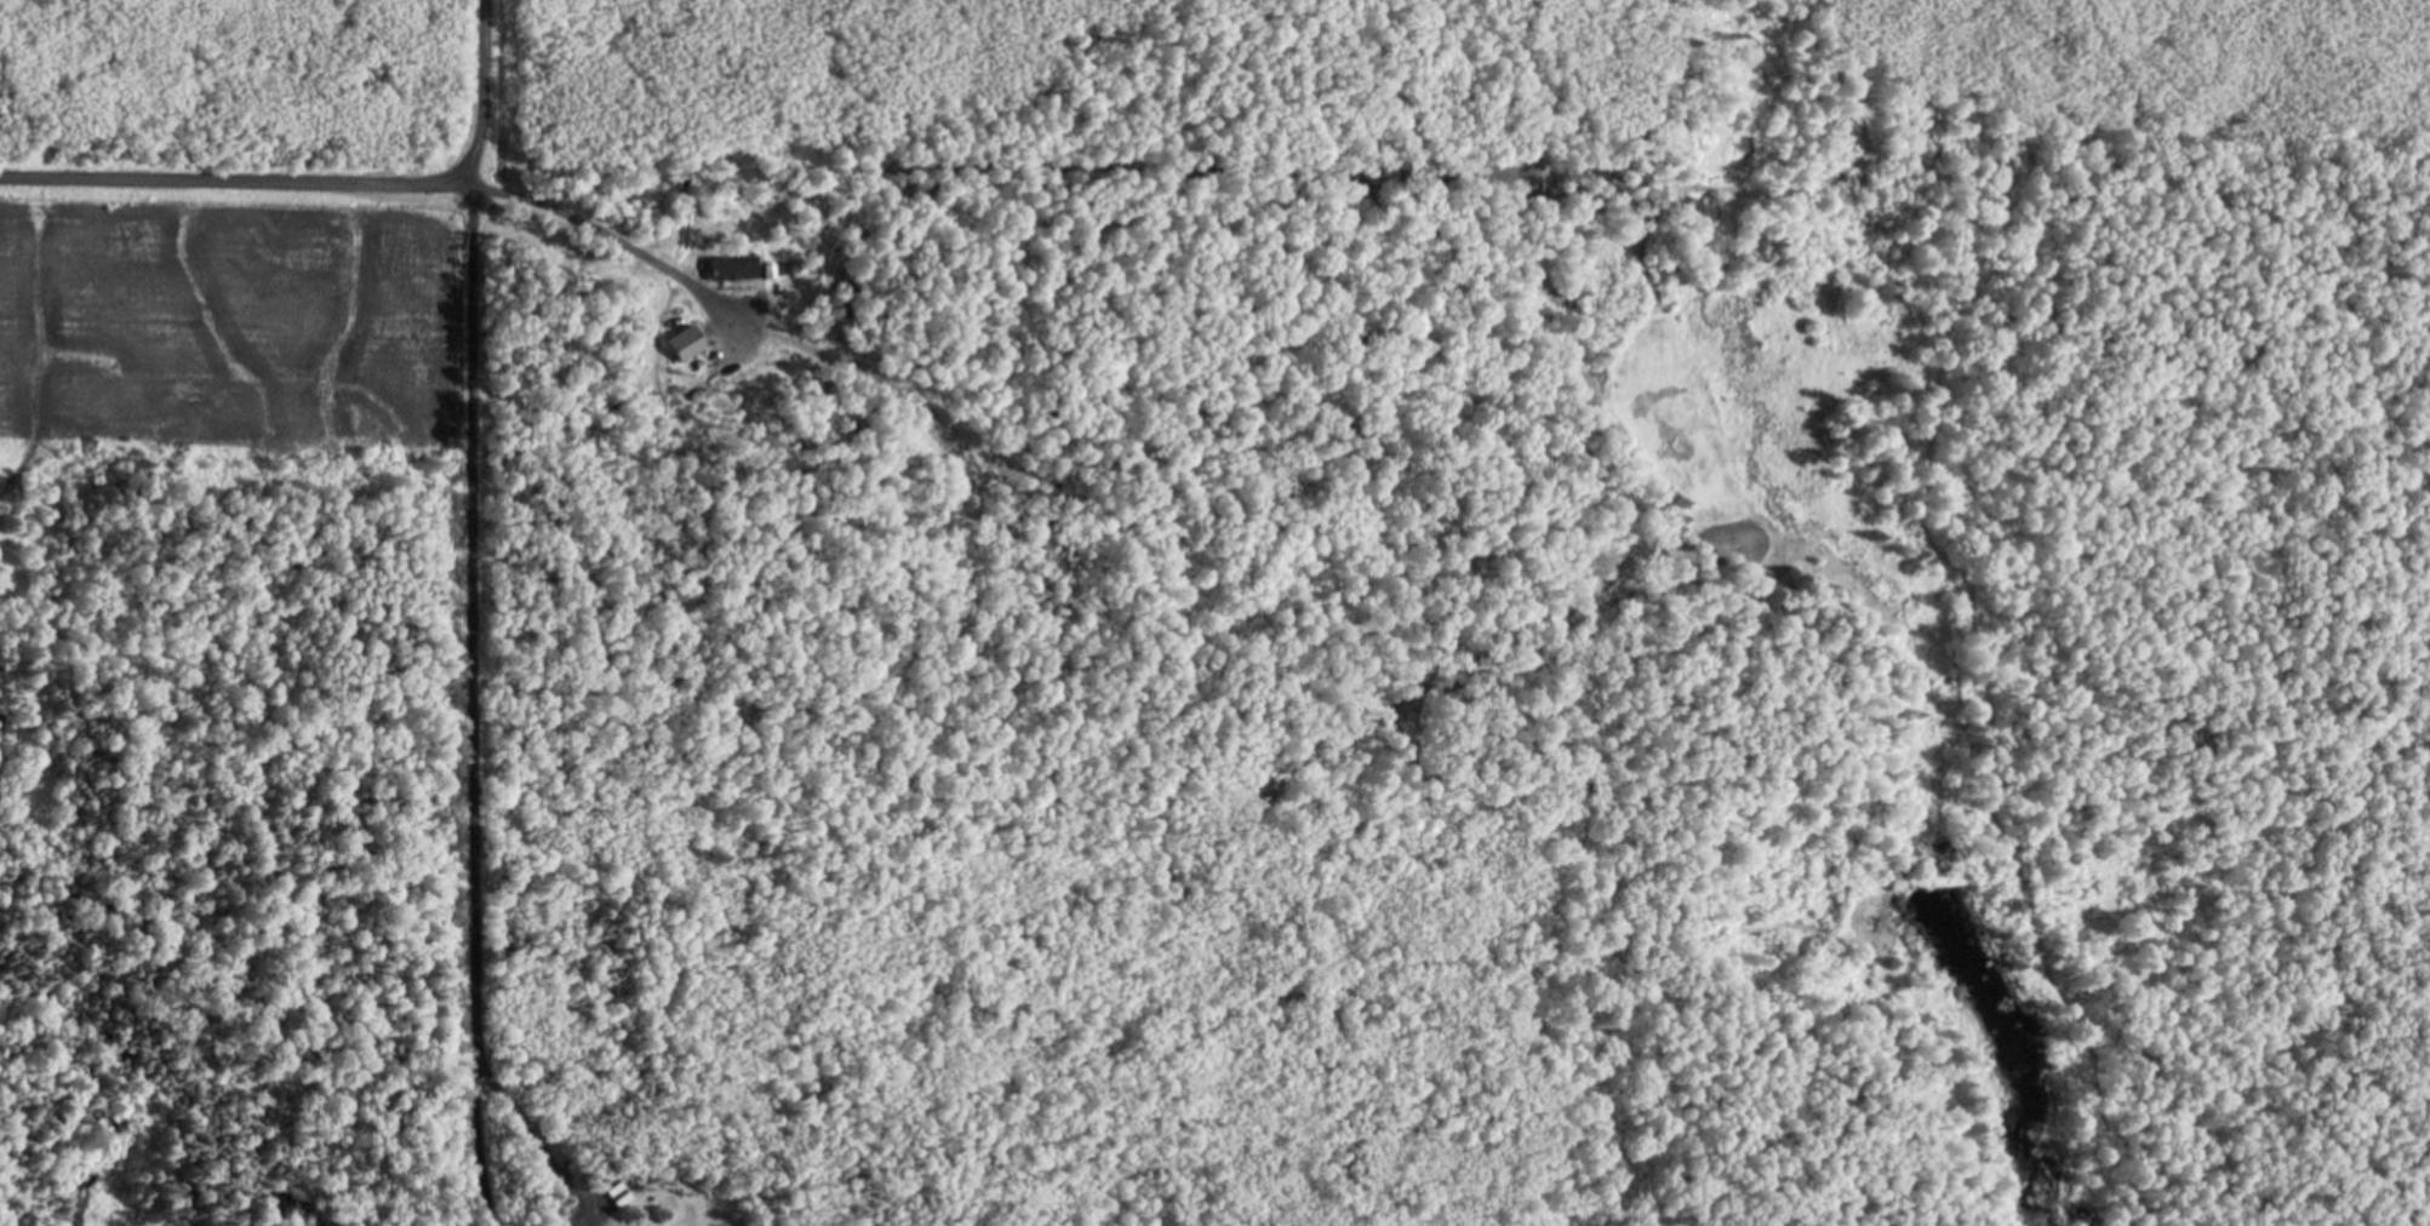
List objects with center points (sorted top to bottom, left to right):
road: (235, 182)
road: (605, 236)
building: (789, 265)
building: (733, 267)
building: (770, 268)
building: (687, 342)
road: (473, 512)
road: (475, 1125)

